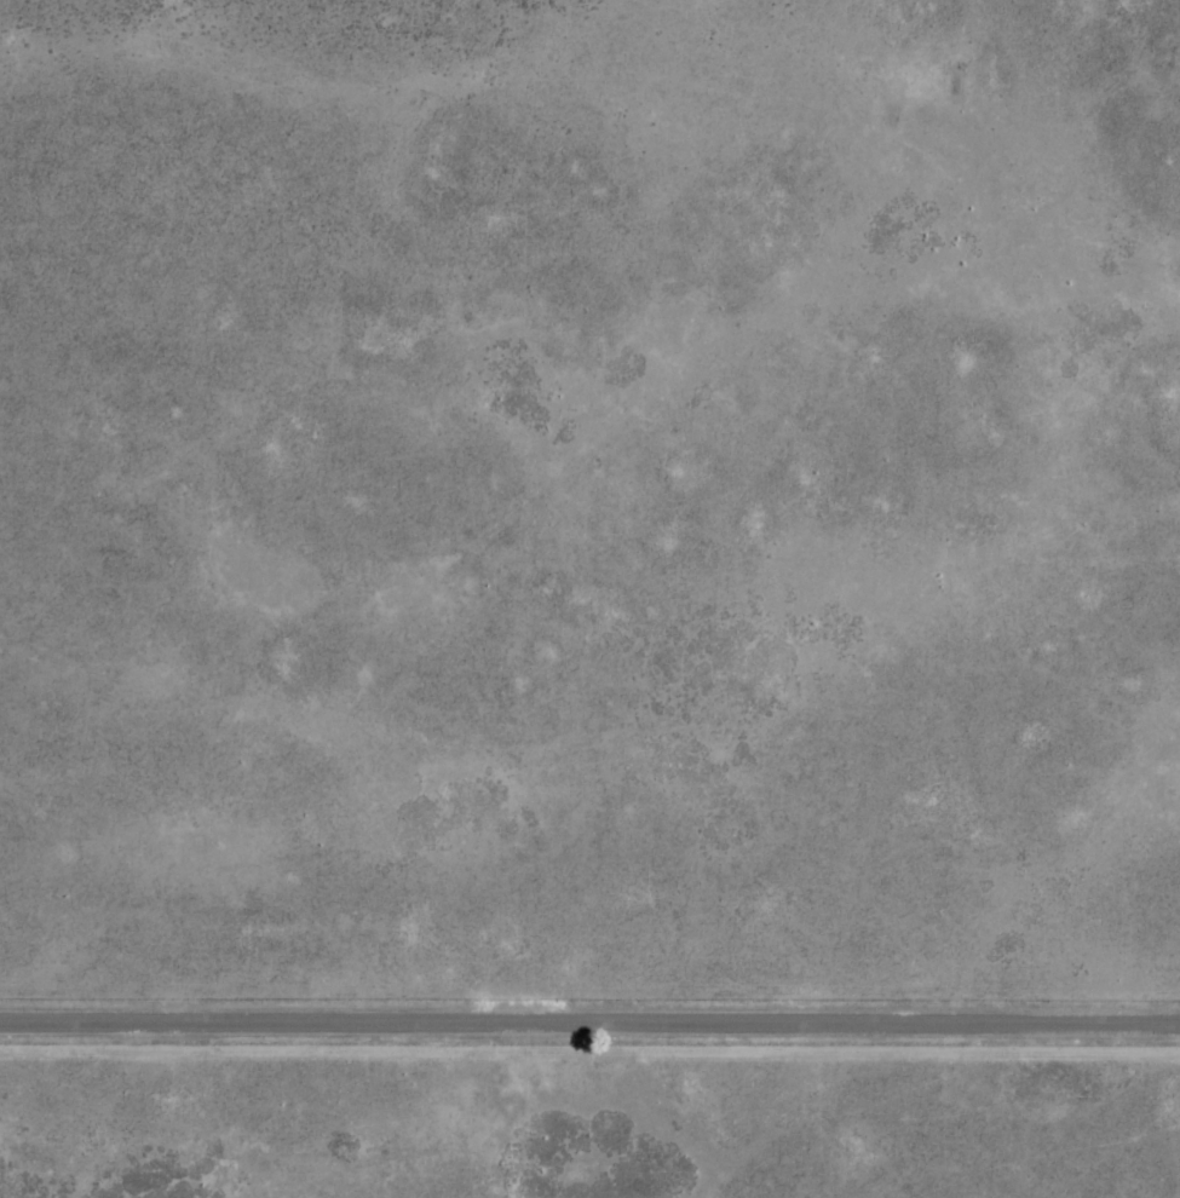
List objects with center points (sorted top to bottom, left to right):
road: (589, 1039)

